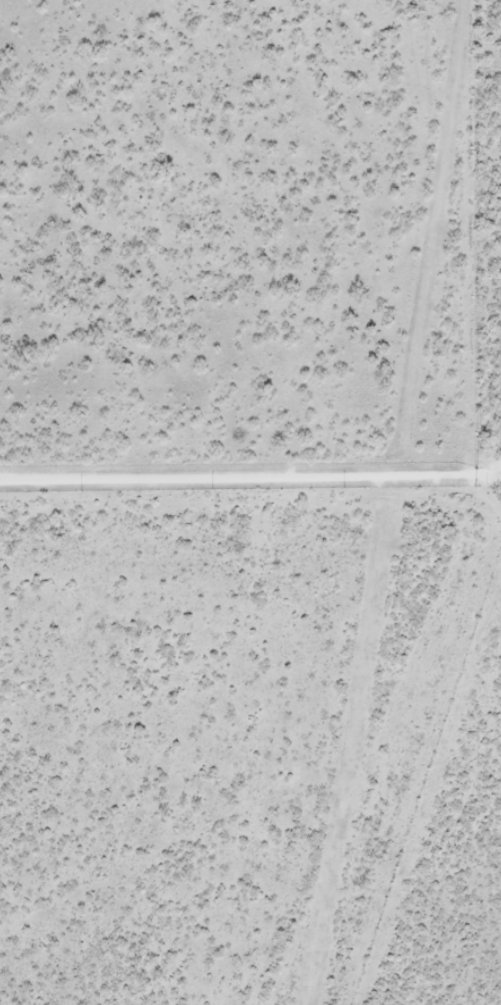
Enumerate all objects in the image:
road: (250, 471)
road: (119, 959)

